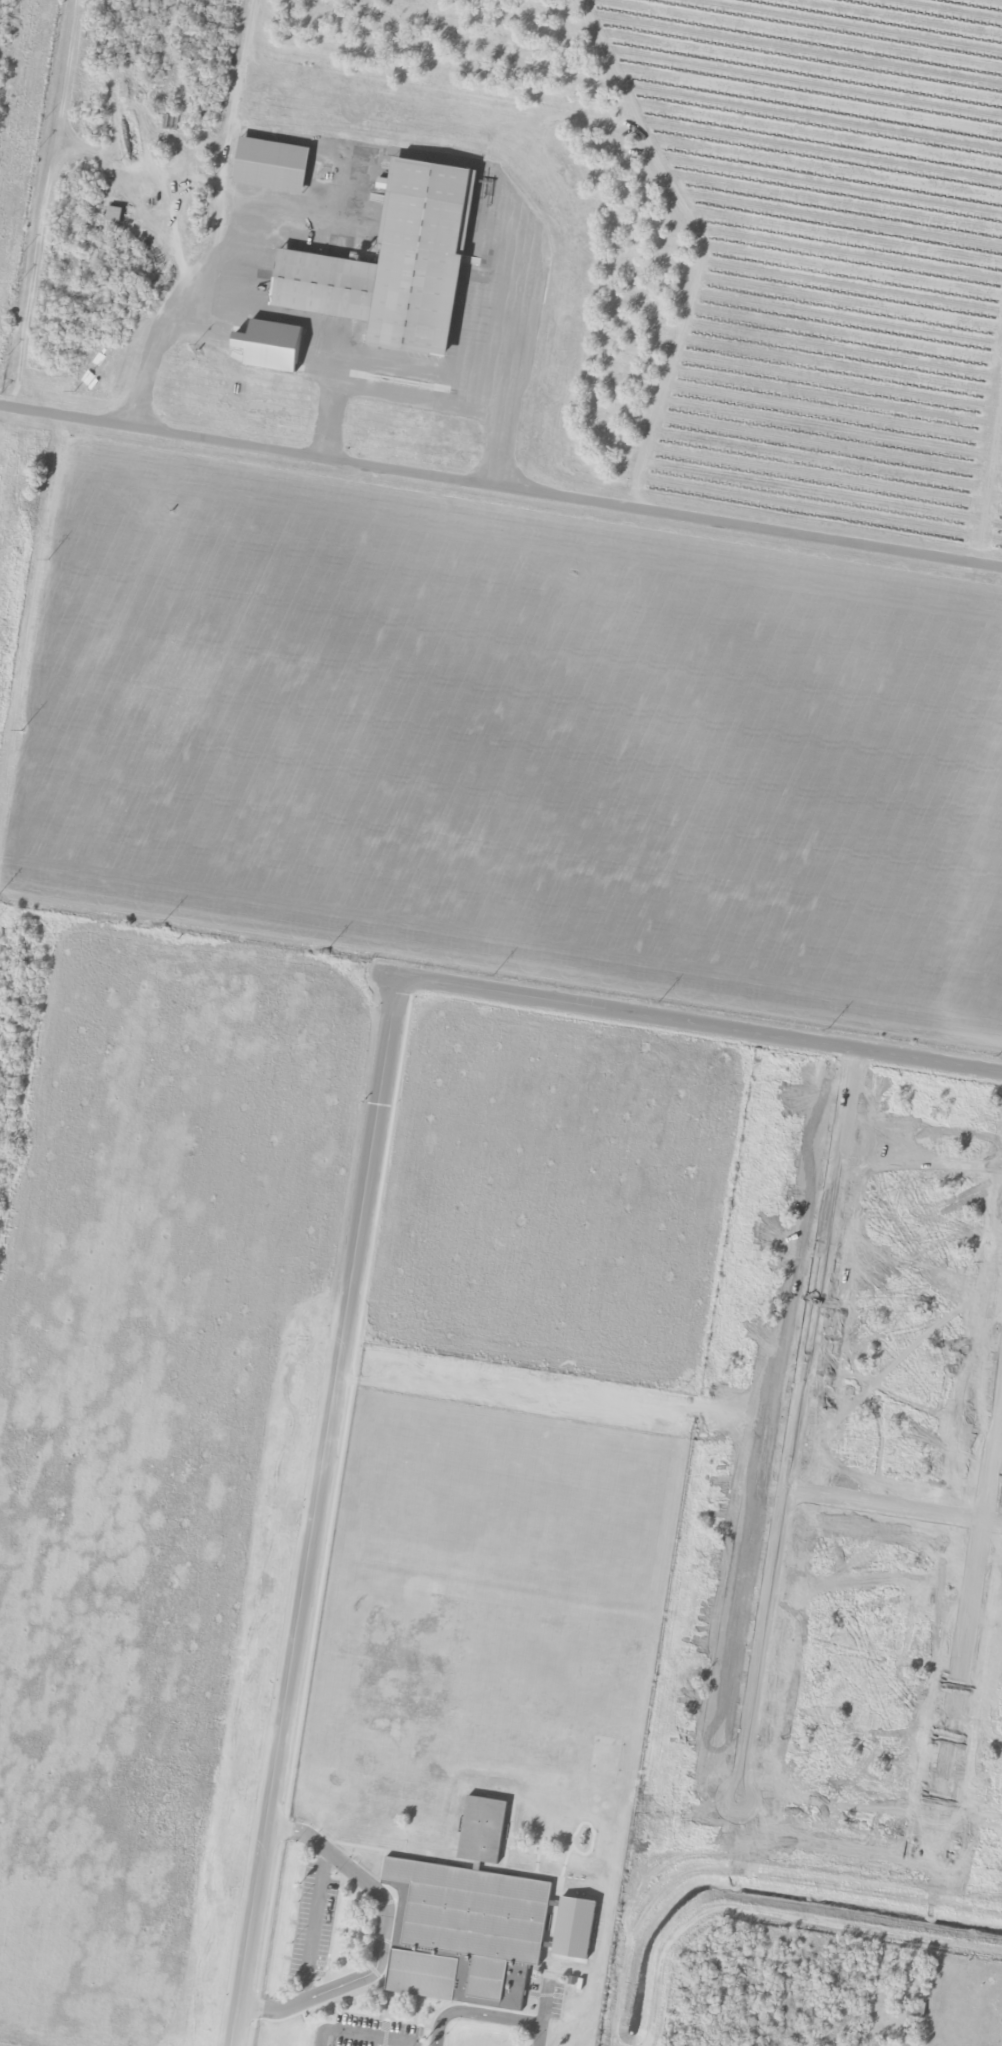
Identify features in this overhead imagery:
road: (21, 142)
building: (268, 166)
building: (111, 215)
building: (392, 265)
railway: (50, 334)
building: (268, 346)
railway: (501, 447)
road: (500, 493)
road: (357, 1207)
building: (463, 1916)
road: (309, 1920)
building: (571, 1928)
road: (380, 1931)
road: (541, 2001)
road: (471, 2011)
road: (369, 2031)
road: (536, 2034)
road: (320, 2035)

